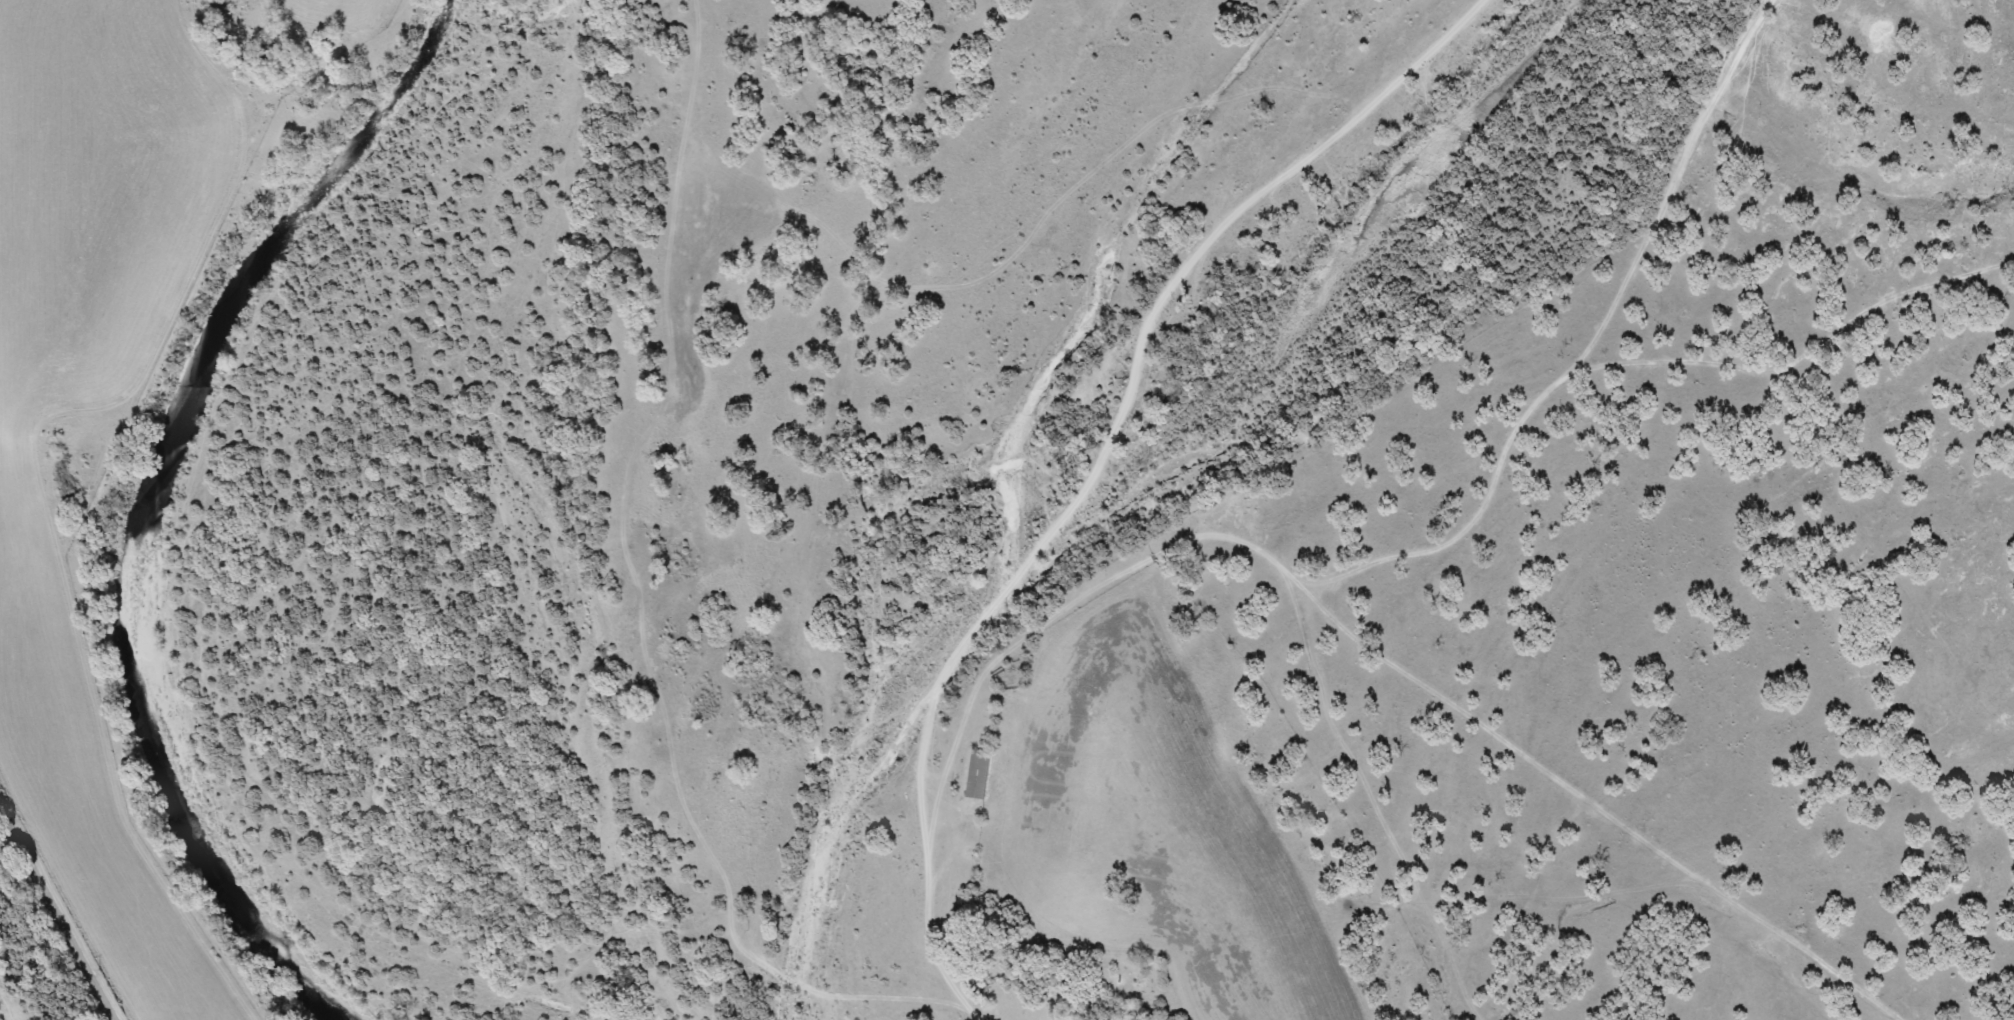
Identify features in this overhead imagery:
road: (1100, 468)
river: (148, 498)
road: (1452, 505)
building: (979, 775)
road: (57, 911)

